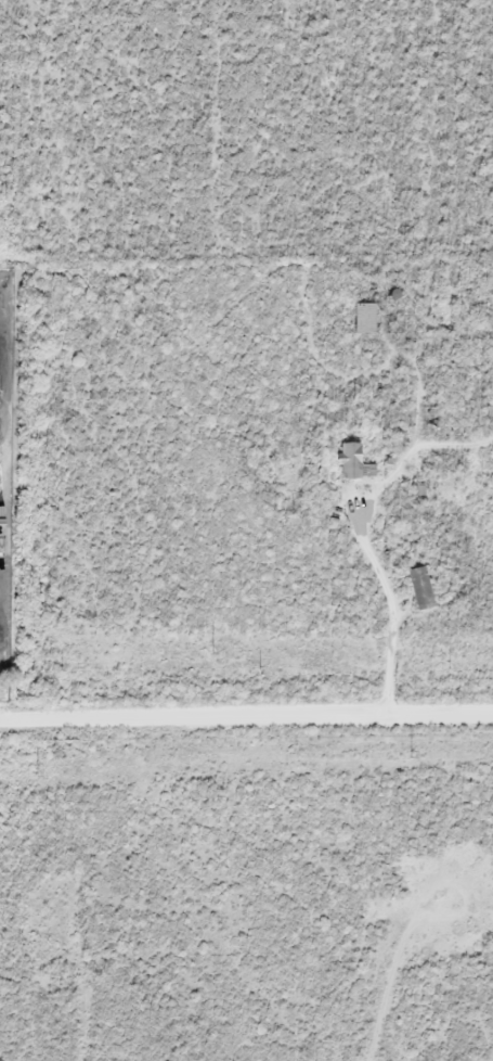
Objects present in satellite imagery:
building: (361, 319)
building: (348, 462)
building: (418, 588)
power tower: (211, 651)
road: (246, 717)
power tower: (411, 753)
power tower: (36, 776)

